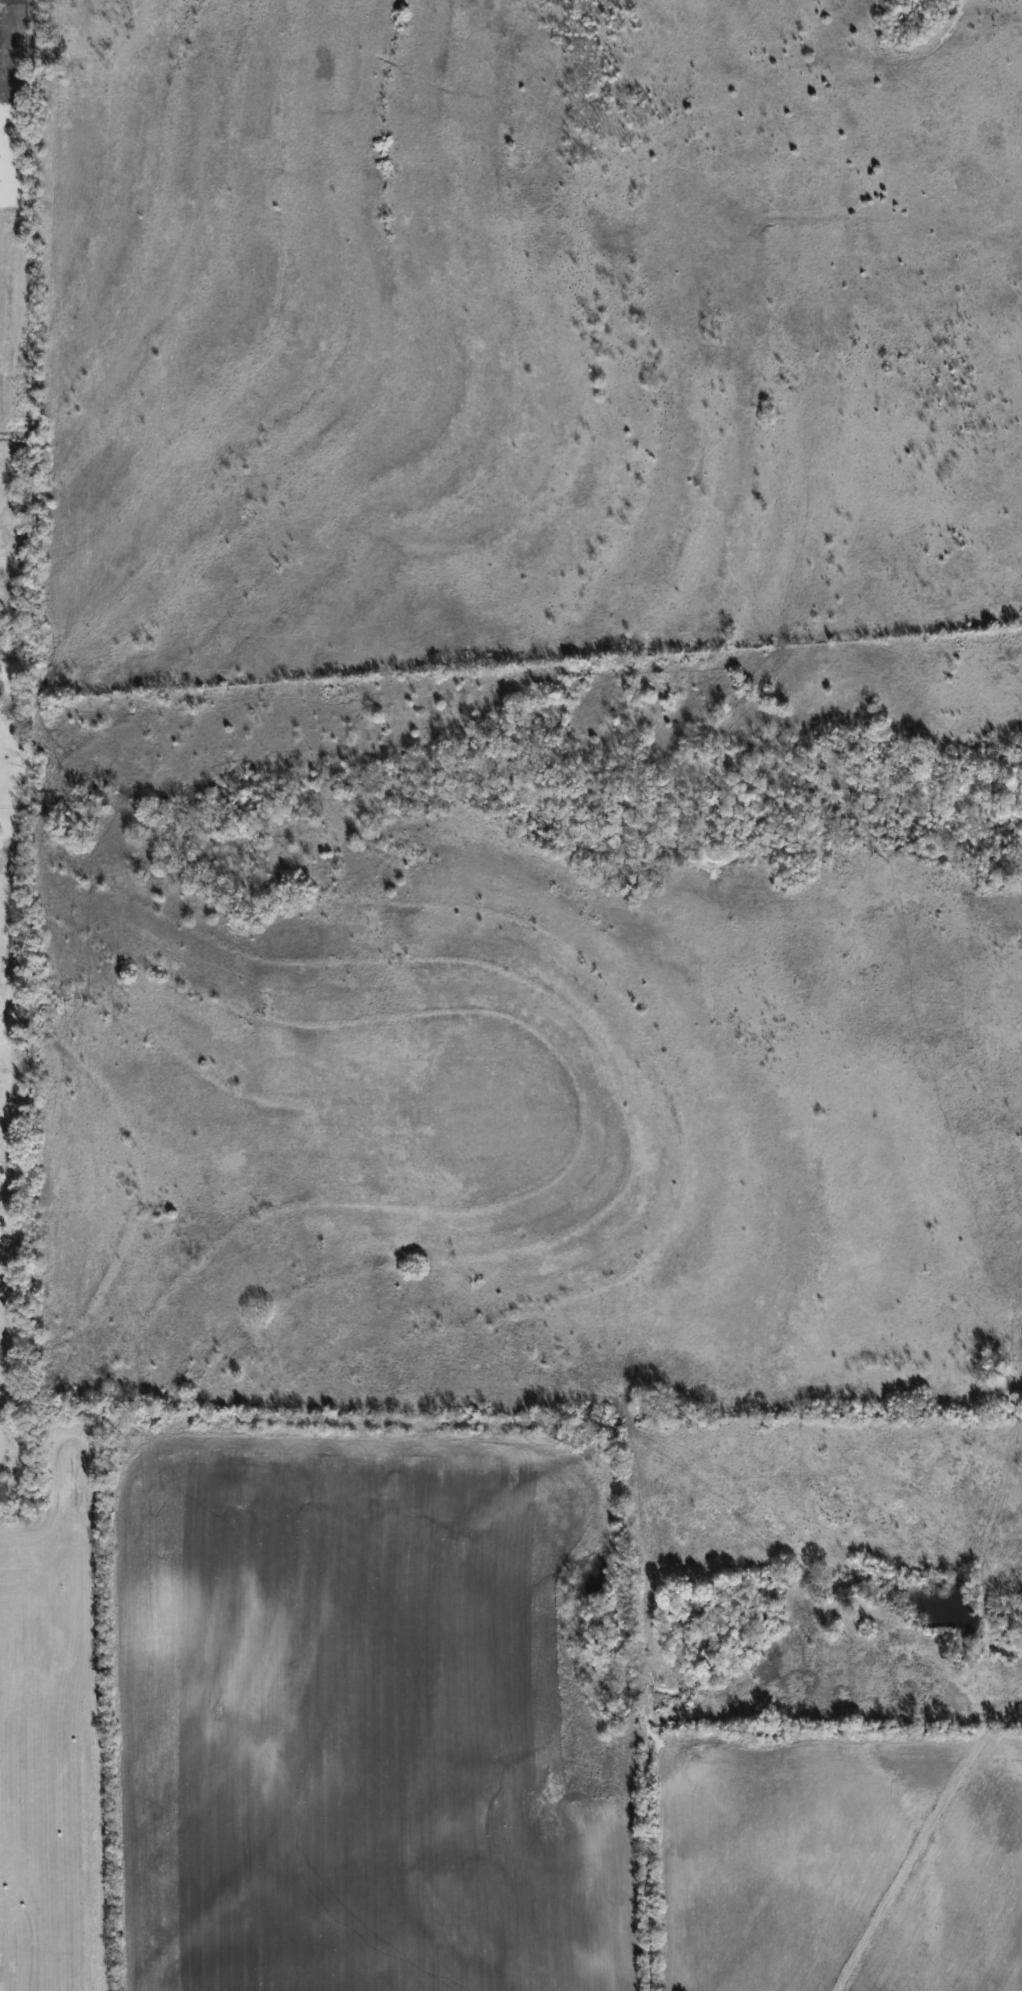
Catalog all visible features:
road: (922, 1842)

